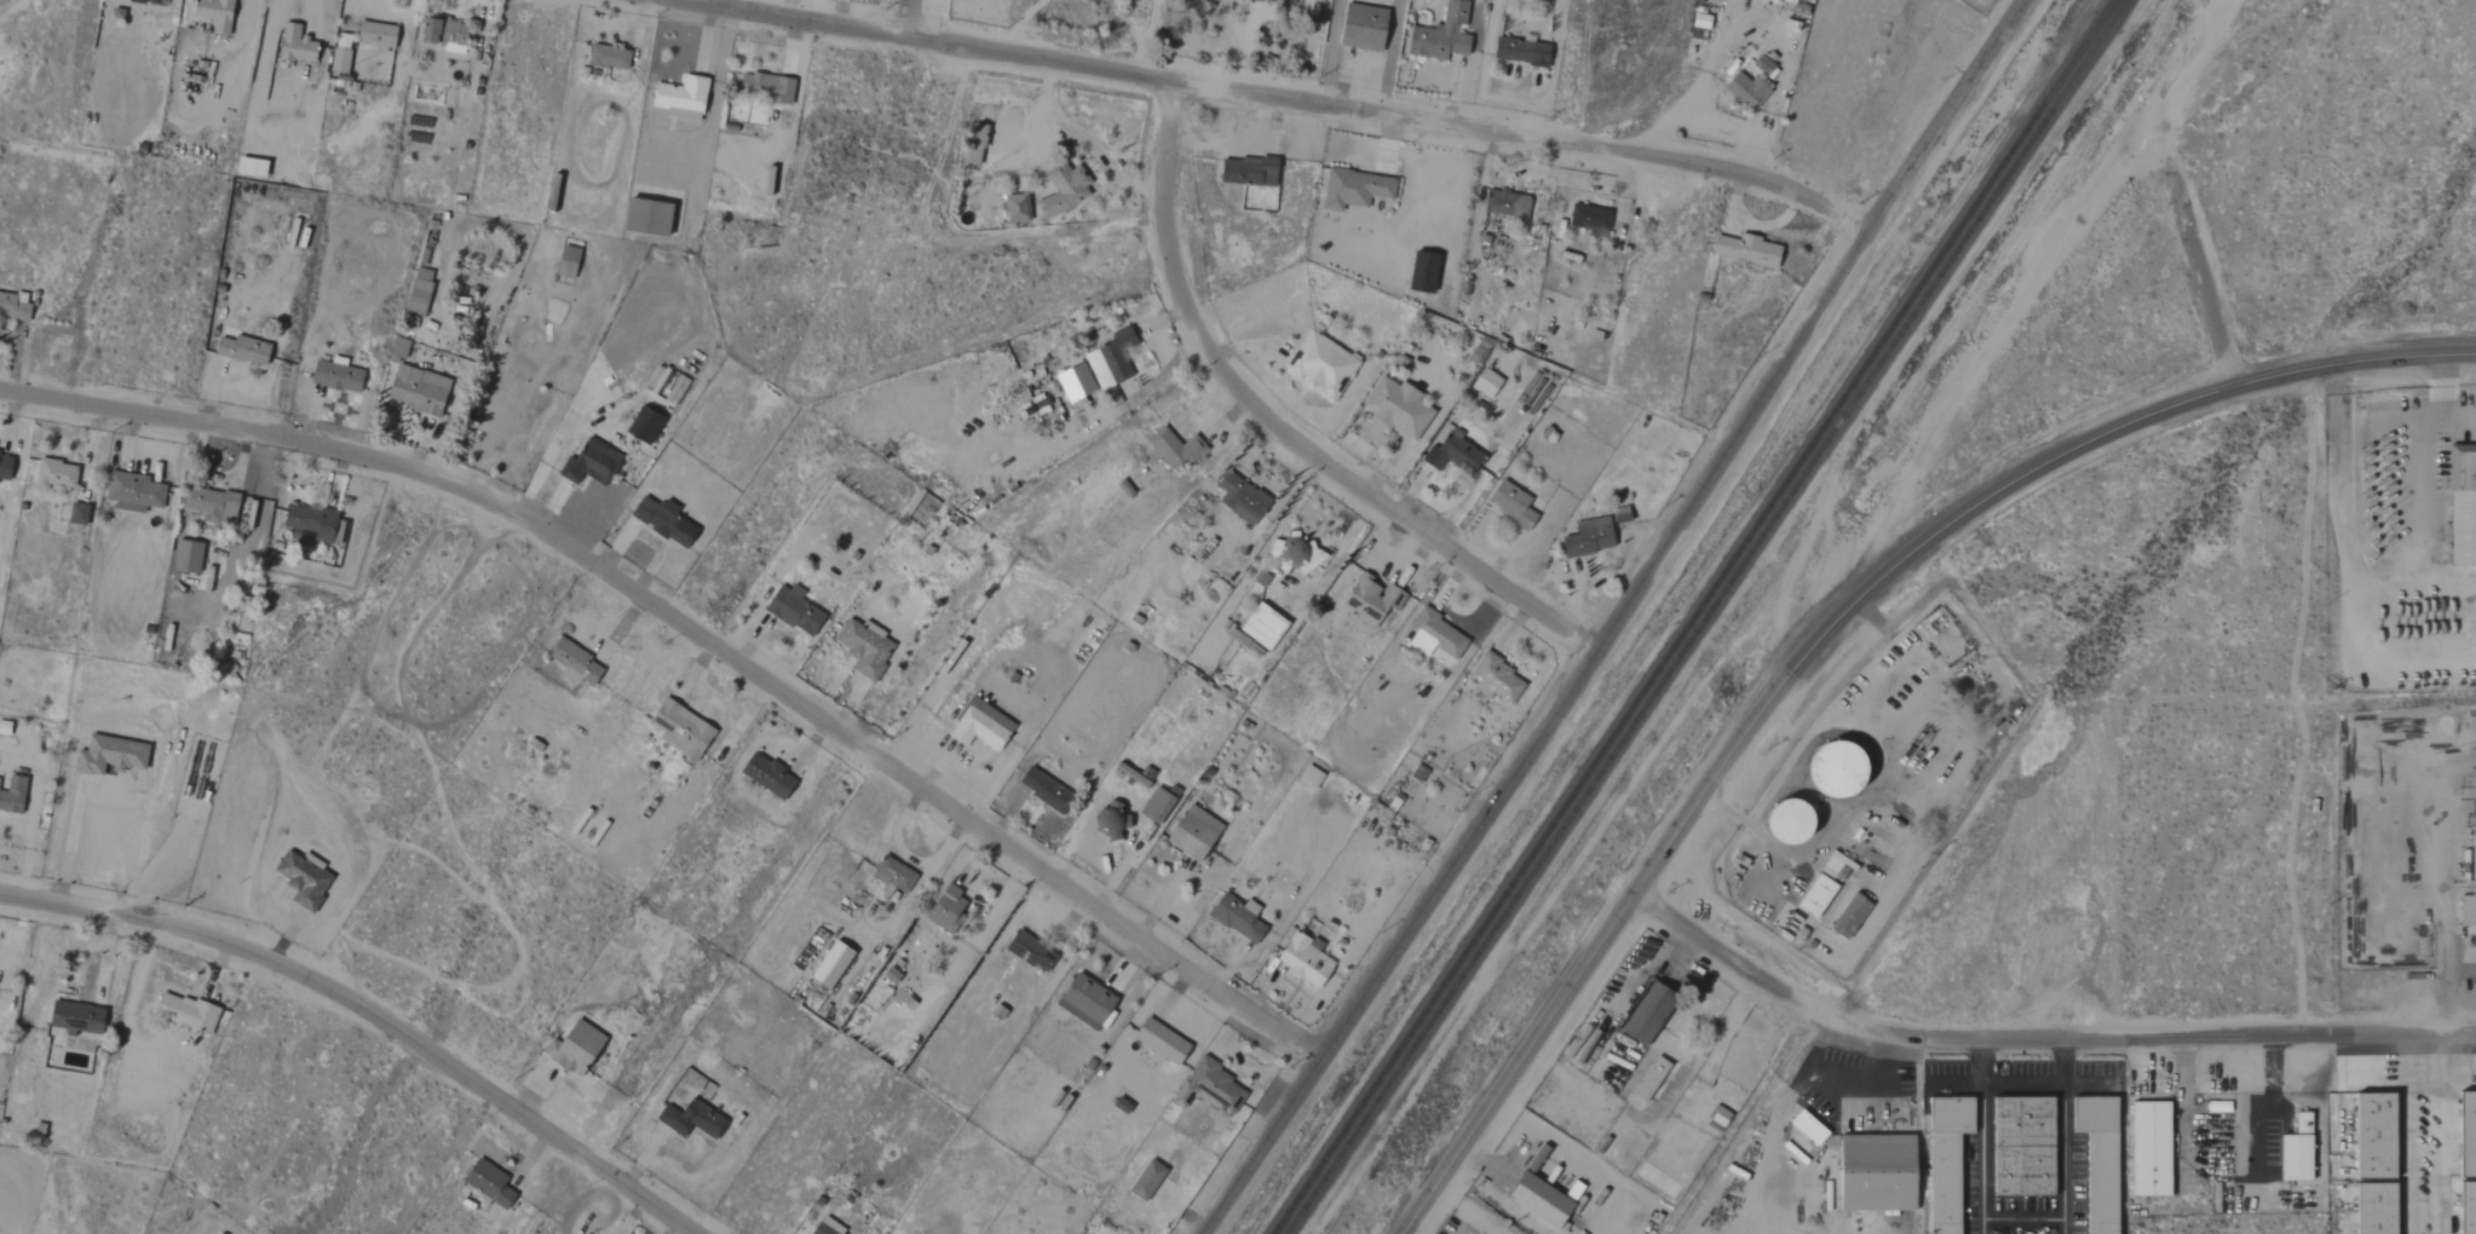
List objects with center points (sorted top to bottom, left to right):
building: (165, 0)
building: (1254, 0)
building: (140, 1)
building: (1785, 1)
building: (218, 15)
road: (904, 17)
road: (1019, 23)
road: (1122, 23)
building: (1358, 28)
building: (434, 31)
building: (456, 34)
building: (1438, 35)
building: (380, 36)
road: (1146, 36)
building: (299, 46)
building: (1518, 52)
road: (2190, 57)
building: (605, 58)
building: (342, 59)
building: (1761, 64)
building: (1741, 91)
building: (759, 97)
road: (1278, 97)
building: (678, 98)
building: (1244, 172)
building: (1352, 189)
building: (1061, 191)
building: (1504, 204)
building: (1014, 208)
building: (641, 218)
building: (1589, 221)
building: (1743, 250)
road: (2190, 254)
building: (1420, 273)
building: (420, 290)
building: (15, 306)
building: (247, 350)
building: (1109, 359)
building: (1318, 367)
building: (339, 376)
building: (1484, 384)
building: (678, 390)
building: (420, 391)
road: (2437, 405)
building: (1394, 409)
building: (647, 425)
road: (1276, 431)
building: (1171, 448)
building: (0, 450)
building: (1450, 454)
building: (592, 463)
building: (6, 467)
building: (57, 475)
road: (2417, 486)
building: (137, 492)
building: (1238, 498)
building: (1508, 503)
road: (2338, 503)
building: (215, 504)
building: (2459, 504)
building: (80, 514)
building: (667, 521)
building: (316, 523)
building: (1587, 538)
building: (1297, 554)
building: (189, 557)
building: (1369, 599)
building: (790, 610)
railway: (1692, 617)
railway: (1704, 617)
road: (1614, 621)
building: (1259, 625)
road: (697, 635)
building: (1432, 635)
road: (1825, 640)
building: (860, 647)
building: (578, 663)
building: (1493, 679)
building: (977, 726)
building: (6, 728)
building: (678, 730)
building: (114, 756)
building: (1826, 768)
building: (764, 774)
building: (1041, 789)
building: (15, 795)
building: (1153, 805)
building: (1106, 818)
building: (1779, 821)
building: (1191, 832)
road: (69, 840)
road: (906, 857)
building: (891, 878)
building: (2469, 887)
building: (1813, 895)
building: (942, 906)
building: (1233, 916)
building: (1848, 916)
road: (2446, 936)
building: (1027, 951)
building: (1301, 958)
building: (827, 964)
road: (1634, 988)
building: (1082, 1002)
building: (189, 1013)
road: (369, 1013)
building: (1642, 1014)
building: (80, 1017)
road: (2034, 1032)
building: (1157, 1040)
building: (570, 1048)
building: (1647, 1079)
road: (2020, 1084)
building: (1208, 1089)
road: (1509, 1113)
building: (687, 1119)
road: (2403, 1131)
road: (2445, 1131)
road: (1982, 1132)
road: (2057, 1132)
building: (2464, 1135)
building: (2368, 1136)
building: (2017, 1147)
building: (2147, 1149)
building: (2292, 1151)
road: (1568, 1152)
road: (1478, 1158)
building: (1942, 1160)
building: (2095, 1161)
building: (1870, 1172)
building: (1144, 1181)
building: (485, 1183)
building: (1533, 1199)
building: (2464, 1207)
building: (2370, 1209)
road: (1508, 1210)
road: (2021, 1221)
building: (823, 1227)

